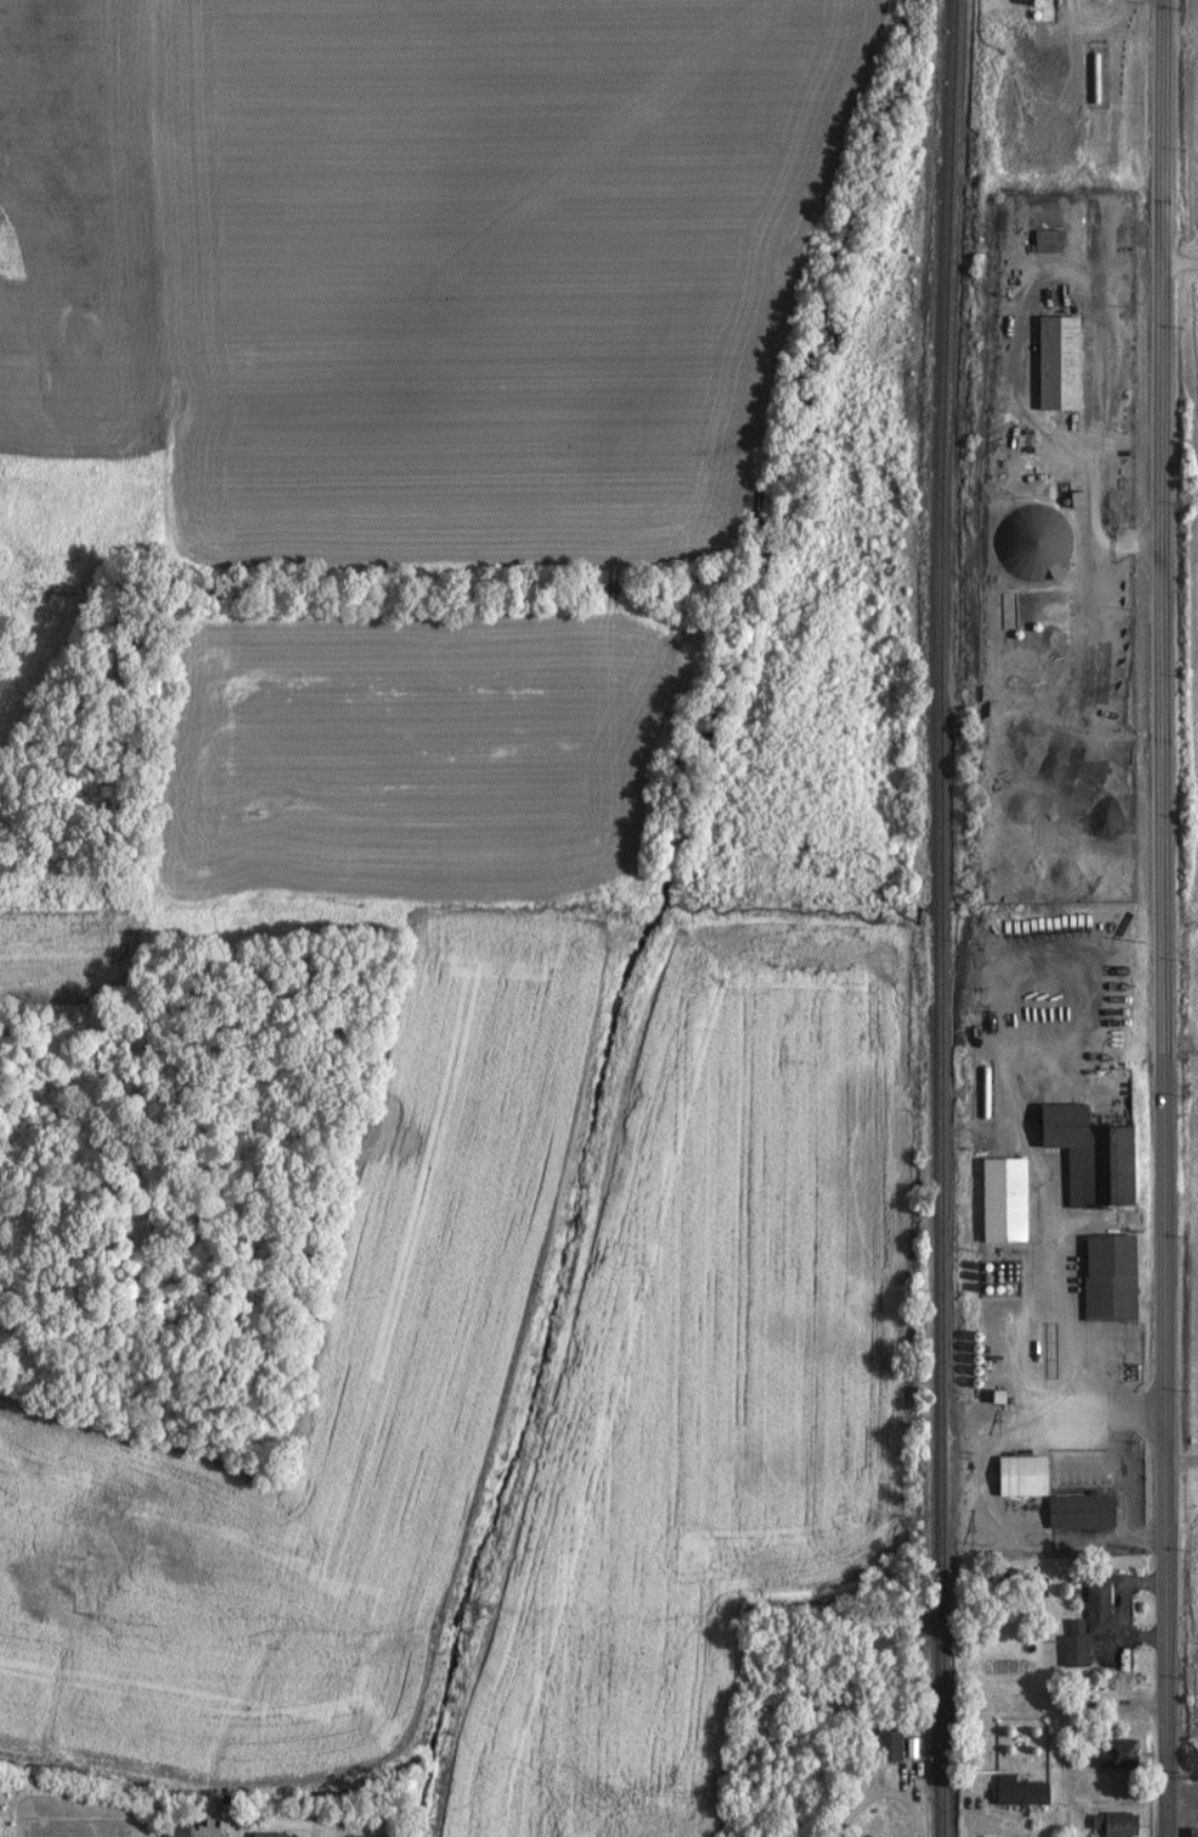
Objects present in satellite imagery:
road: (1113, 75)
building: (1039, 240)
road: (1177, 262)
building: (1049, 361)
building: (1032, 543)
road: (1160, 777)
railway: (934, 918)
building: (1080, 1156)
building: (993, 1199)
building: (1101, 1278)
road: (1180, 1461)
building: (1079, 1625)
road: (1164, 1695)
building: (880, 1745)
building: (1010, 1791)
road: (885, 1793)
road: (976, 1814)
building: (1105, 1824)
building: (165, 1829)
building: (257, 1835)

